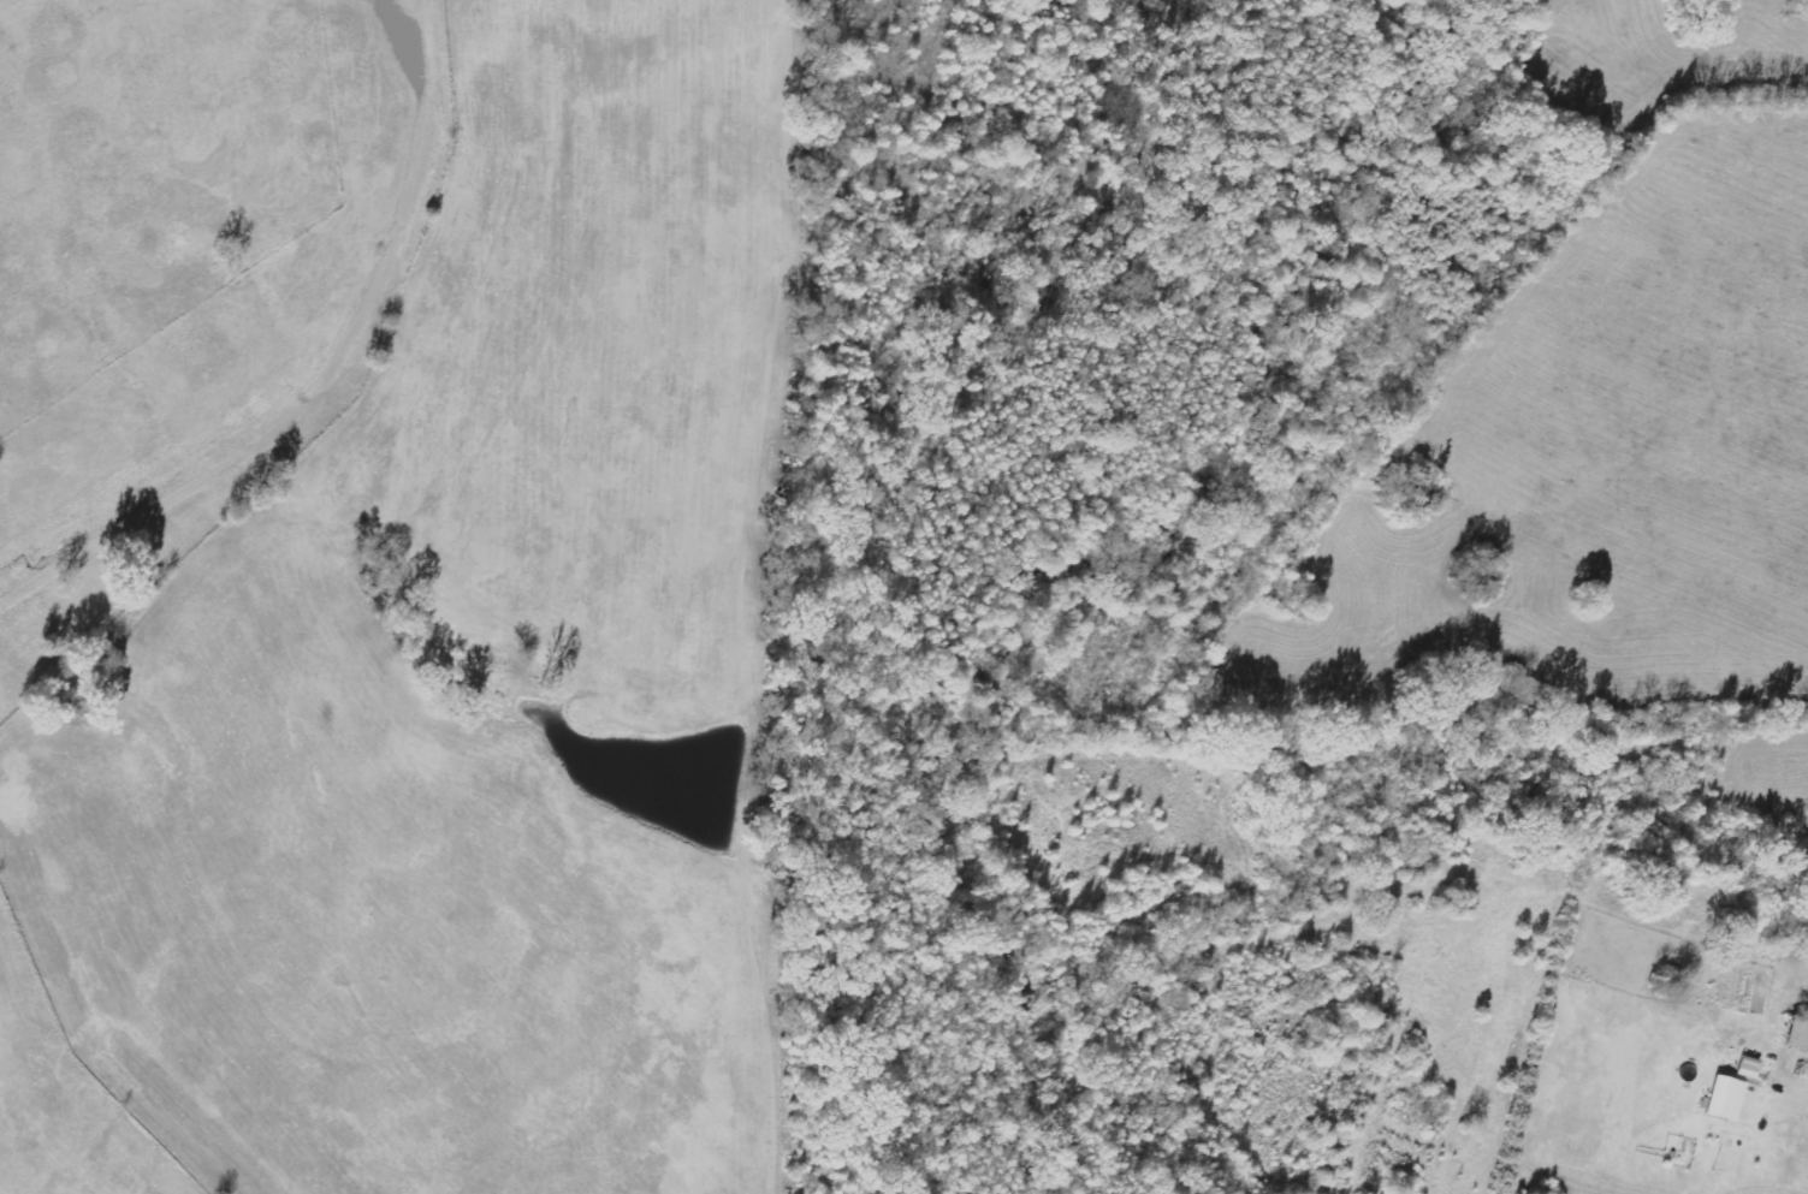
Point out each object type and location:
road: (298, 366)
building: (1796, 1032)
building: (1723, 1099)

